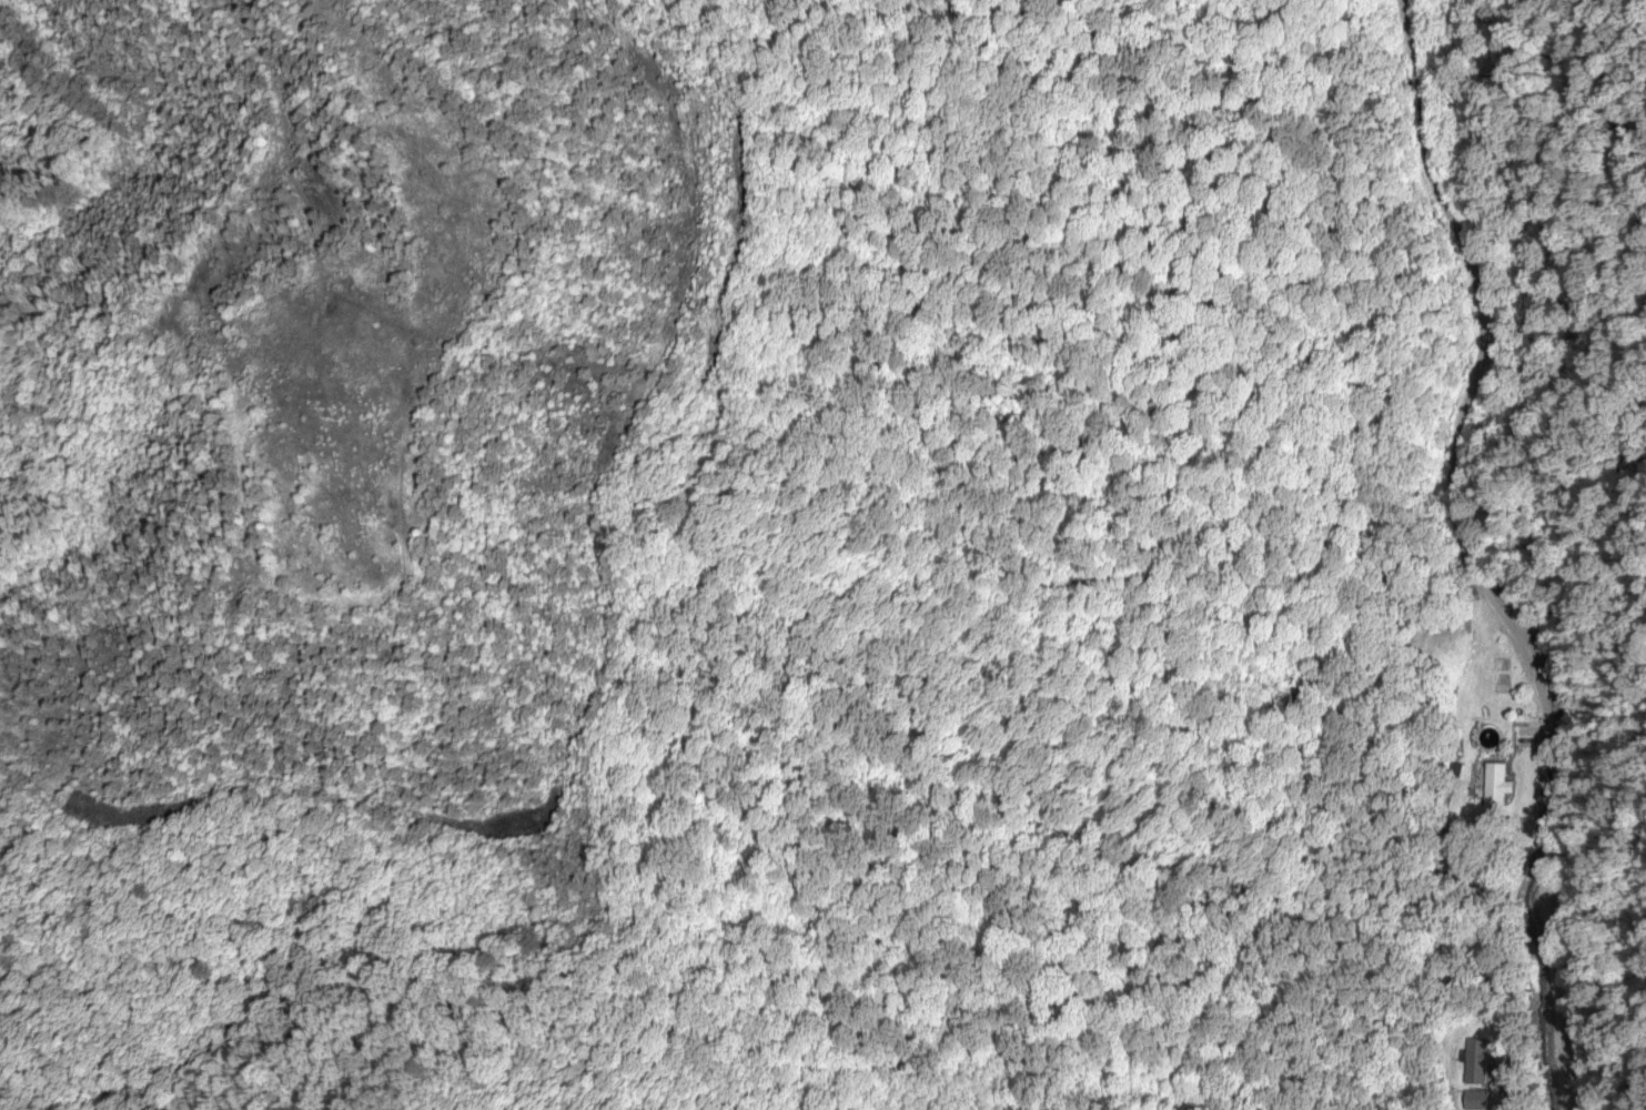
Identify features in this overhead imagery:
road: (1414, 554)
building: (1496, 783)

